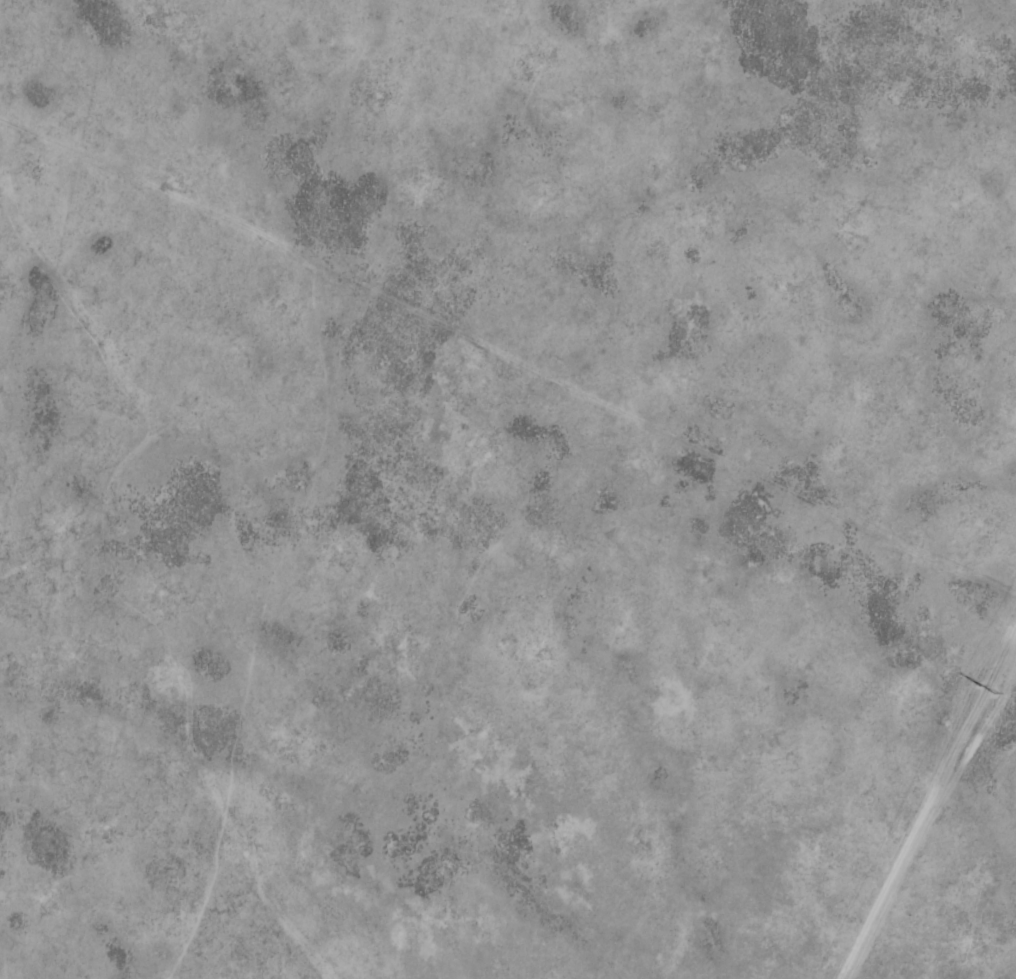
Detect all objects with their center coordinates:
road: (502, 275)
power tower: (986, 688)

